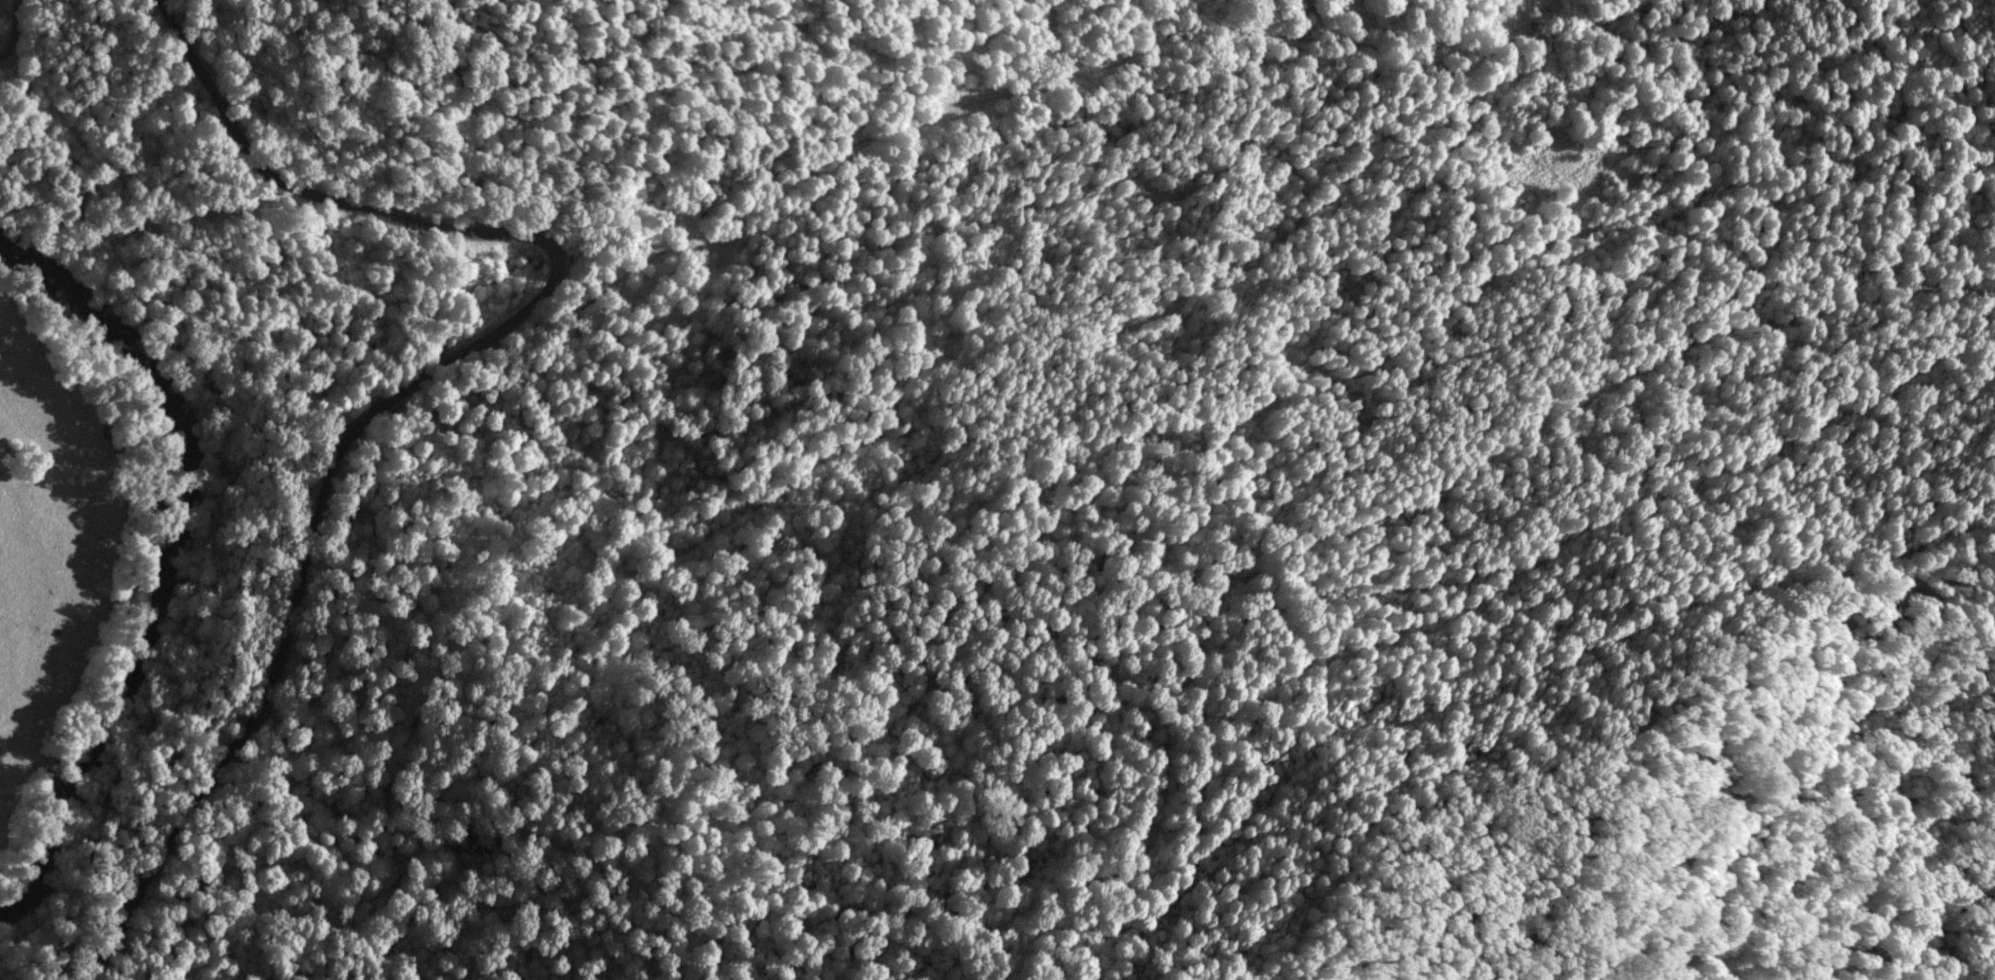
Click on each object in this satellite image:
road: (21, 22)
road: (1082, 84)
road: (378, 379)

